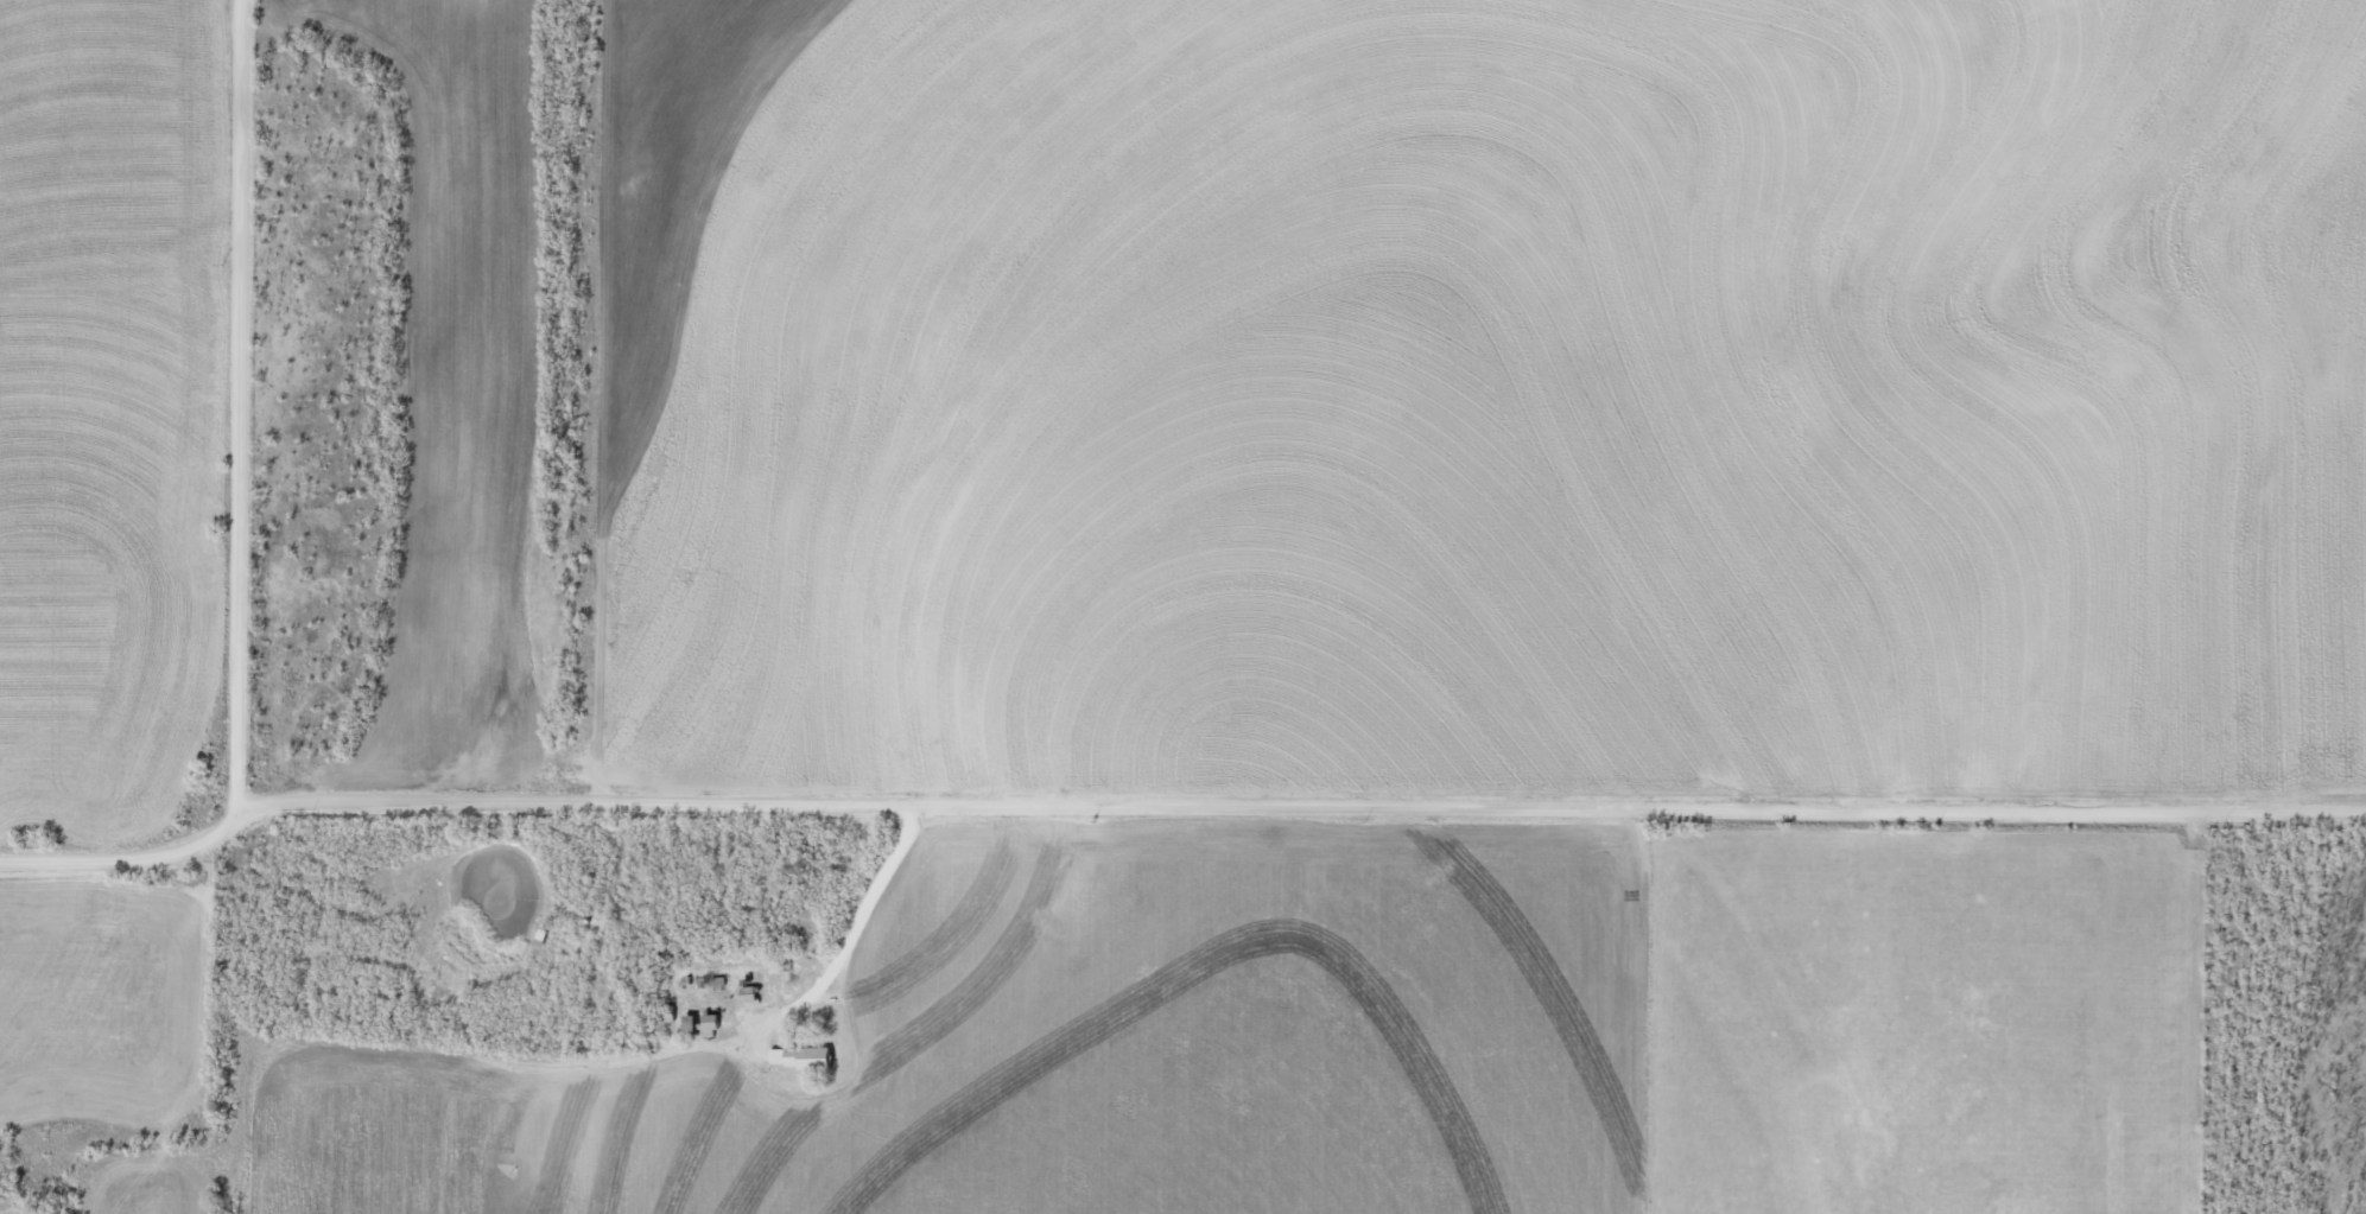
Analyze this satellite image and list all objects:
road: (310, 406)
road: (1173, 815)
building: (711, 1021)
building: (799, 1057)

